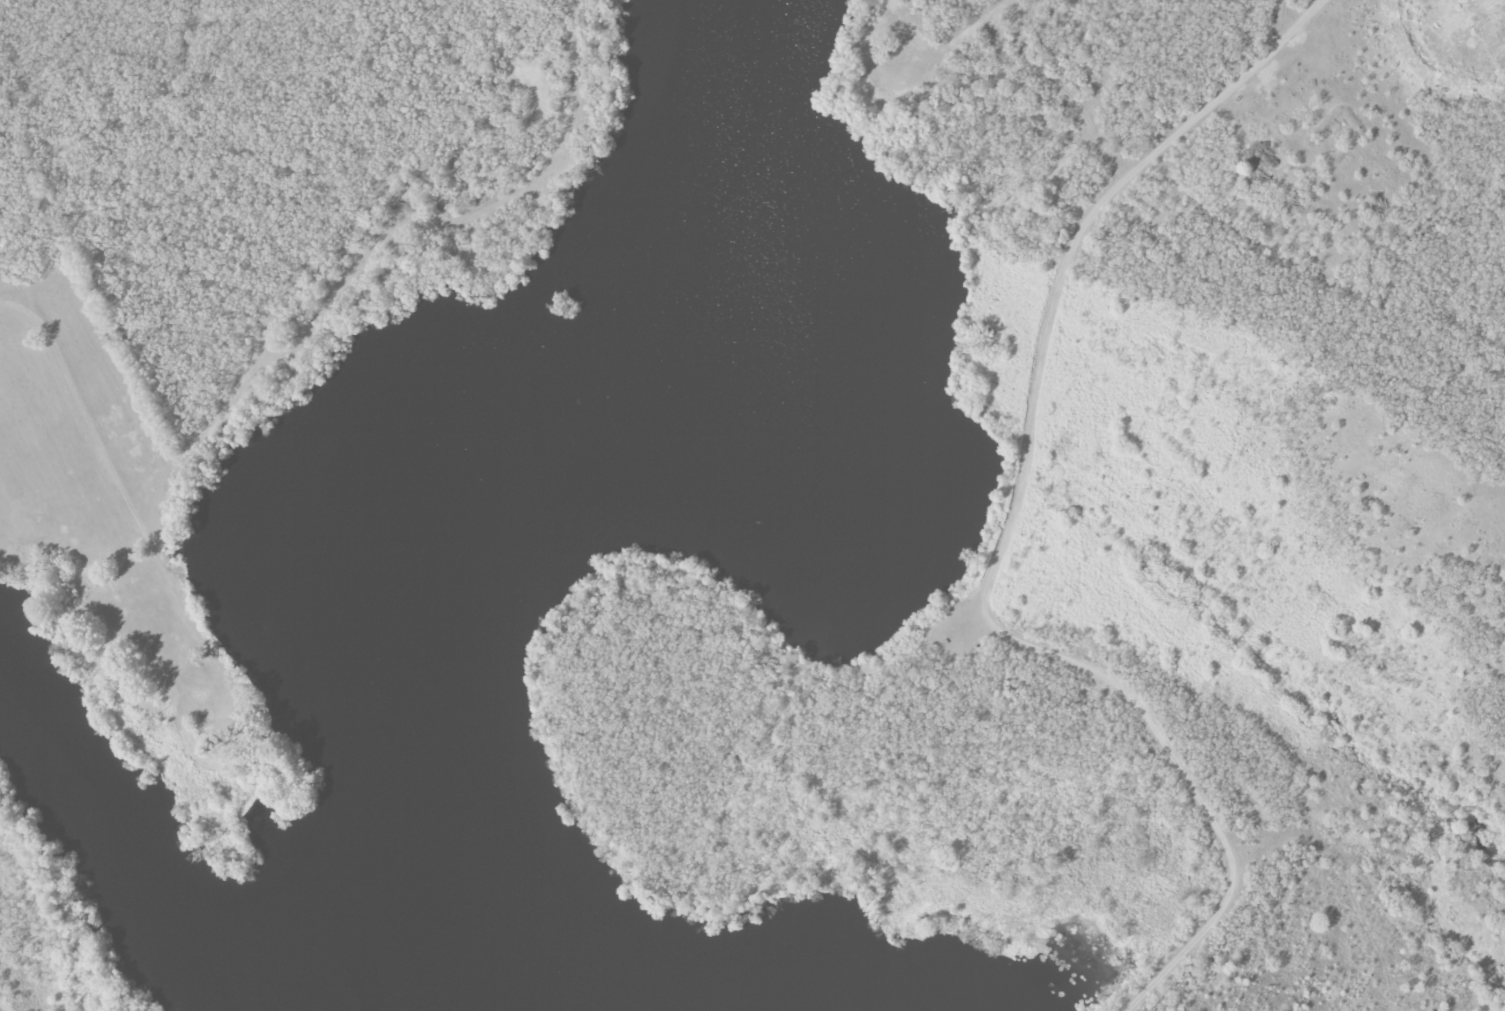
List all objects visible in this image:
road: (1064, 91)
road: (1005, 533)

